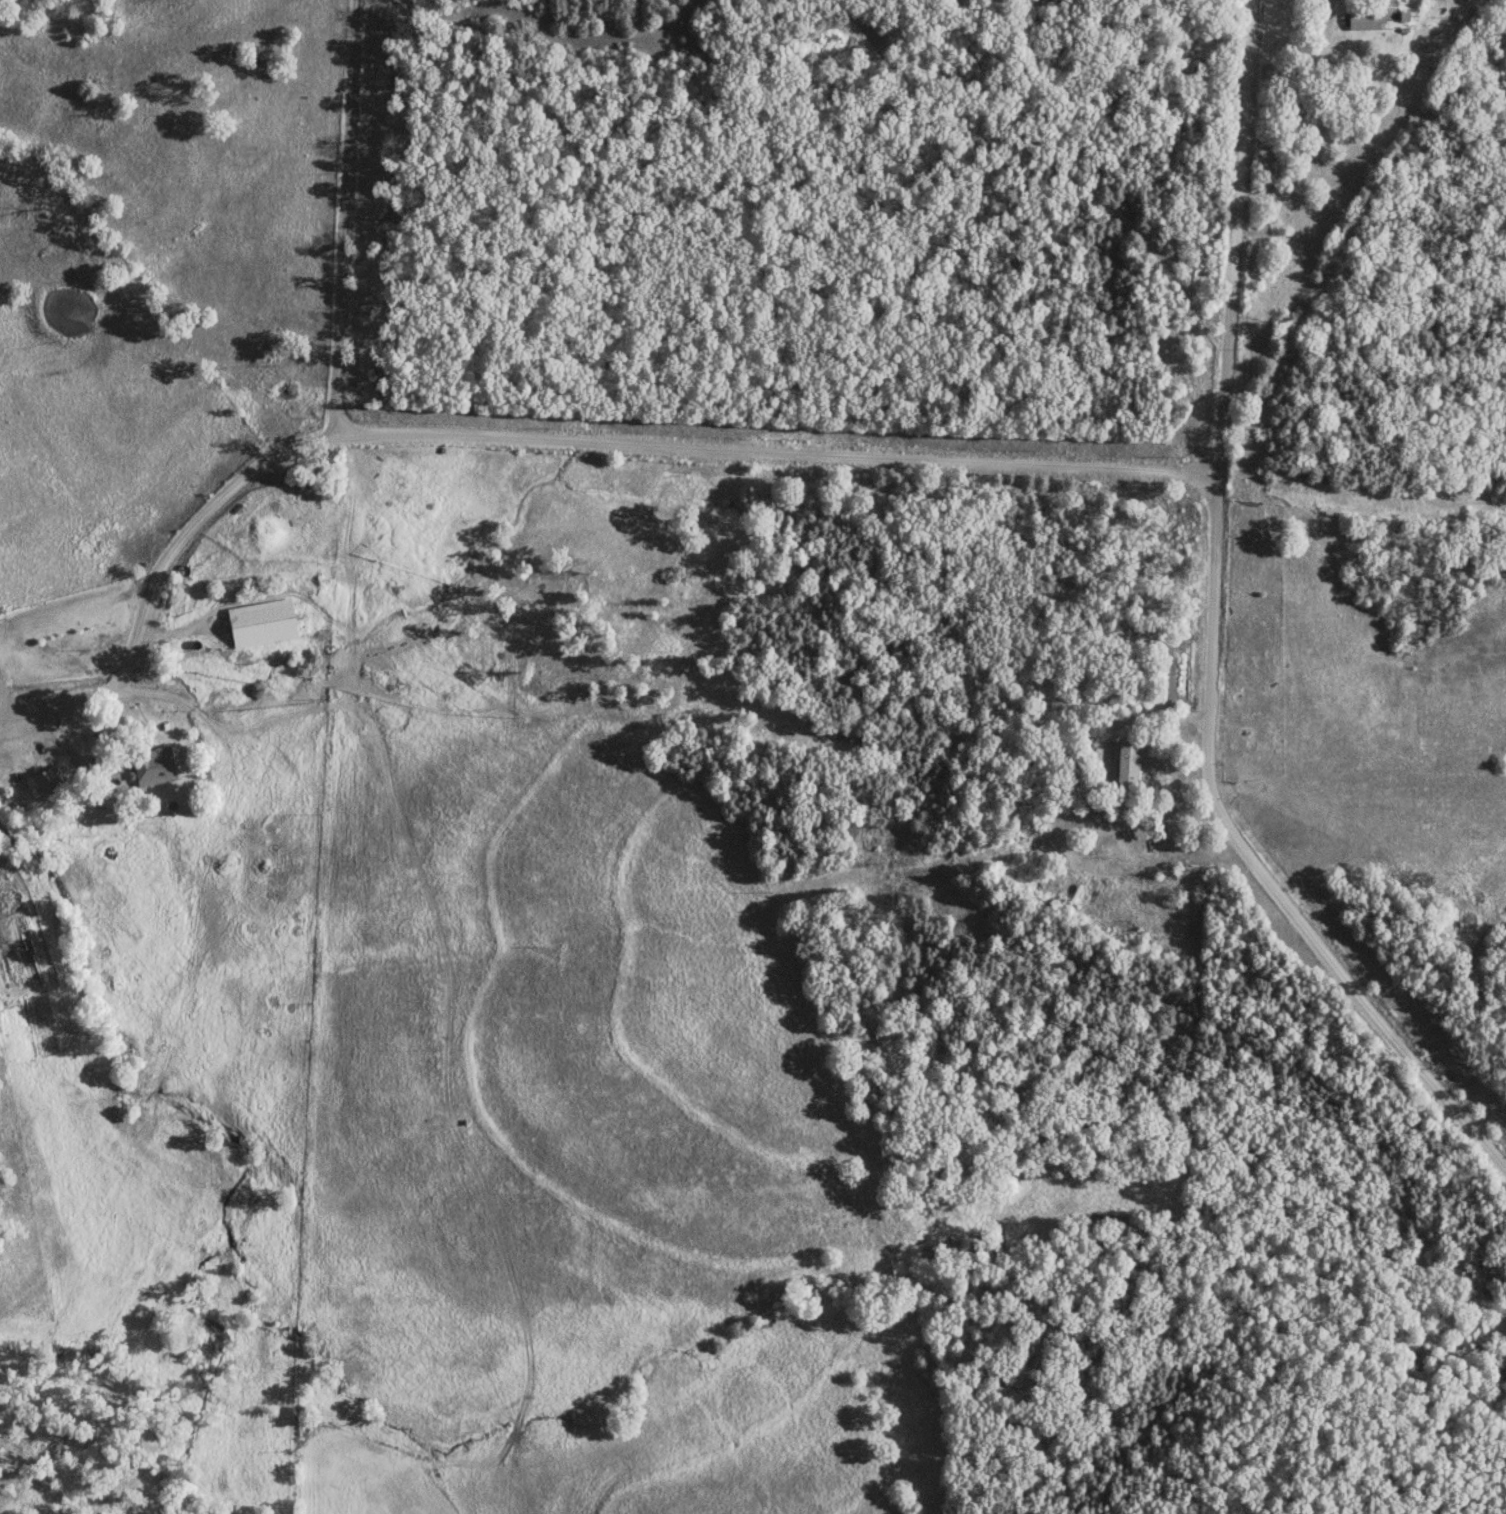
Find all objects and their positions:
building: (1360, 21)
road: (339, 213)
building: (1166, 351)
road: (537, 440)
building: (264, 623)
road: (1209, 638)
building: (1128, 765)
building: (154, 766)
building: (42, 784)

